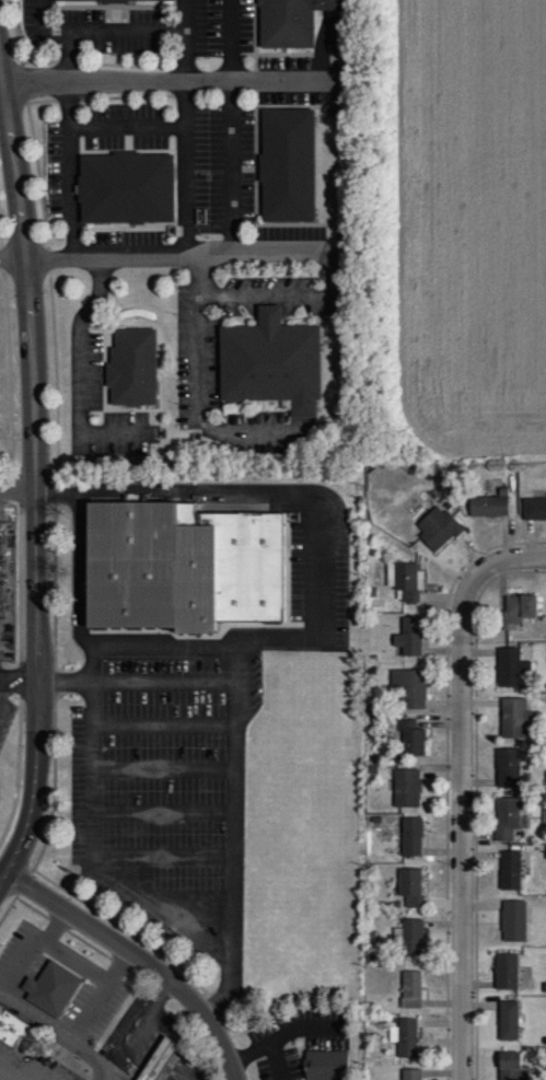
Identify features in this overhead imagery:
building: (111, 0)
building: (289, 21)
road: (82, 27)
road: (154, 27)
road: (243, 40)
road: (198, 55)
road: (169, 81)
road: (140, 124)
building: (287, 163)
road: (82, 170)
road: (198, 170)
road: (242, 170)
building: (141, 187)
road: (166, 258)
road: (284, 294)
road: (209, 336)
road: (91, 345)
building: (281, 361)
building: (137, 365)
road: (8, 369)
road: (35, 473)
road: (206, 488)
road: (16, 489)
building: (488, 507)
building: (534, 508)
building: (437, 529)
road: (81, 546)
road: (509, 556)
building: (184, 564)
road: (321, 570)
building: (405, 581)
building: (516, 611)
road: (275, 637)
building: (409, 637)
road: (133, 646)
road: (24, 667)
building: (510, 667)
road: (18, 676)
road: (1, 680)
road: (164, 680)
building: (408, 688)
parking lot: (8, 709)
building: (514, 718)
road: (163, 724)
building: (411, 740)
parking lot: (194, 750)
road: (163, 767)
building: (508, 767)
building: (406, 789)
road: (163, 810)
building: (506, 818)
road: (462, 824)
building: (411, 837)
road: (92, 847)
road: (234, 851)
road: (163, 856)
building: (510, 871)
building: (410, 887)
building: (513, 920)
building: (411, 937)
road: (24, 957)
road: (141, 957)
road: (77, 962)
building: (506, 971)
building: (57, 989)
building: (410, 989)
road: (93, 1007)
building: (508, 1020)
road: (311, 1026)
building: (15, 1027)
road: (60, 1035)
building: (405, 1036)
road: (269, 1044)
building: (162, 1059)
building: (333, 1065)
building: (510, 1067)
road: (15, 1070)
building: (410, 1073)

